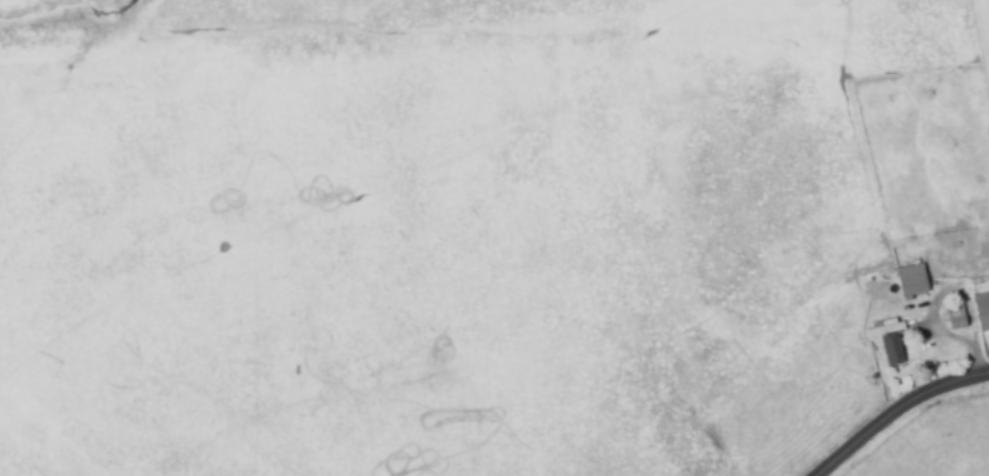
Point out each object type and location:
building: (917, 273)
building: (984, 305)
building: (961, 310)
building: (890, 321)
building: (899, 345)
road: (899, 416)

